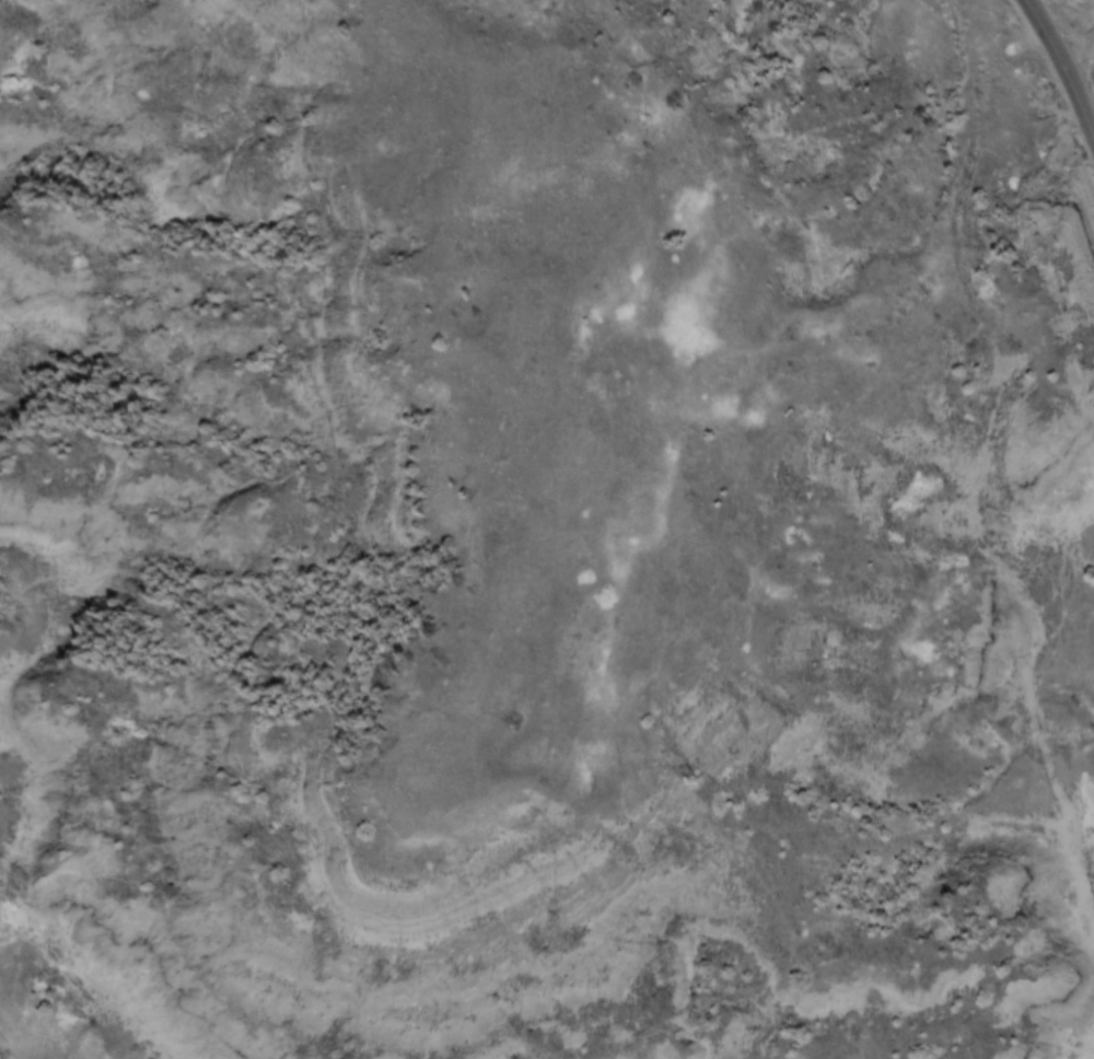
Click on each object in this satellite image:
road: (1061, 71)

